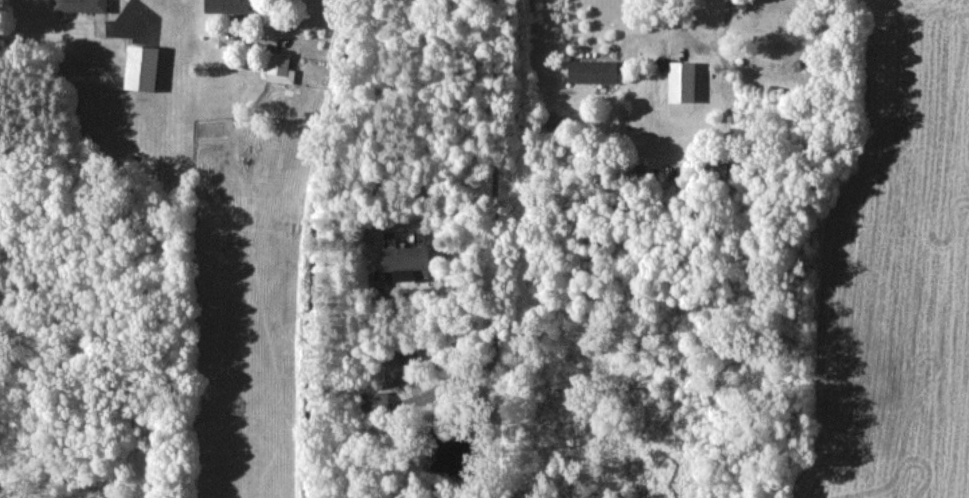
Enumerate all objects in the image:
building: (81, 5)
building: (227, 6)
road: (701, 36)
building: (142, 67)
building: (280, 68)
building: (592, 71)
building: (682, 87)
road: (496, 246)
building: (407, 257)
building: (374, 401)

